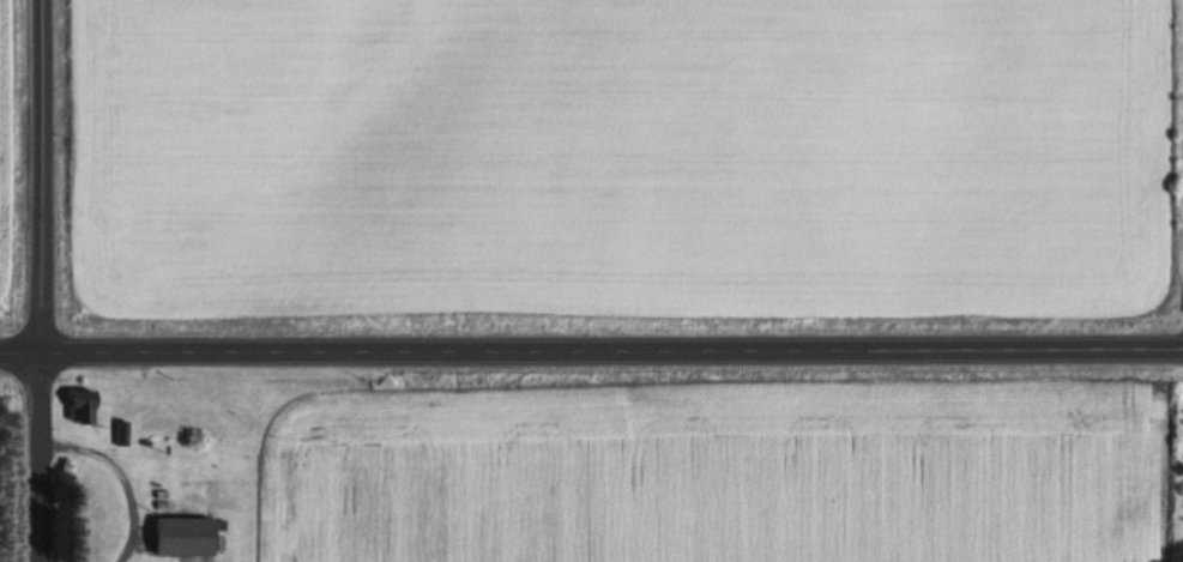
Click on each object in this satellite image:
road: (41, 280)
road: (591, 352)
building: (82, 407)
building: (182, 536)

